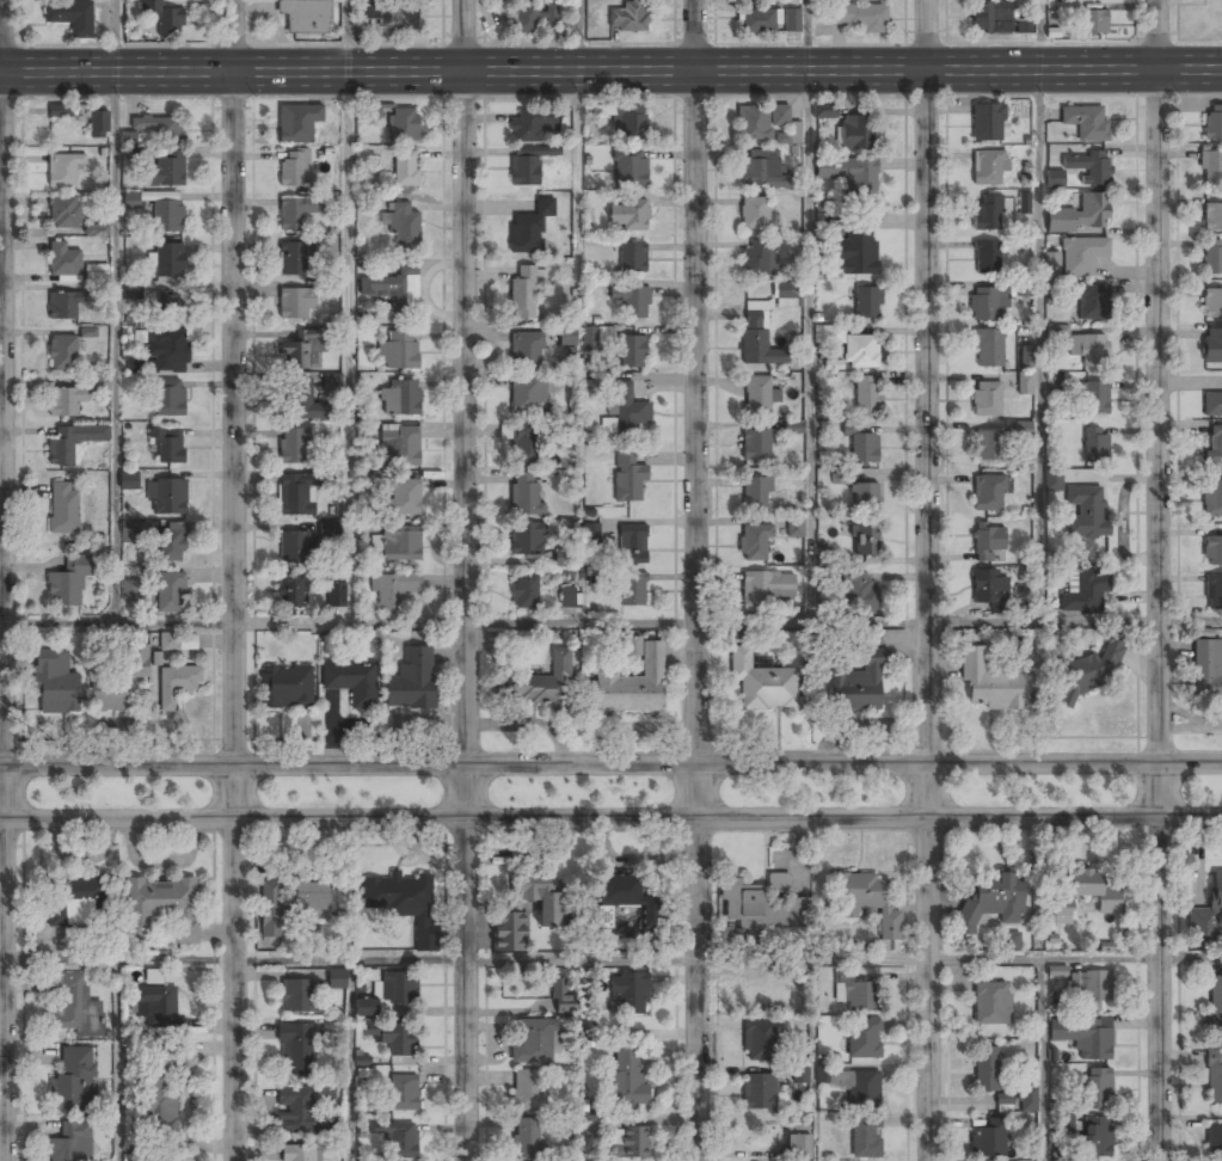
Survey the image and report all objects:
building: (69, 16)
building: (306, 16)
building: (388, 16)
building: (627, 16)
building: (551, 17)
building: (854, 17)
building: (166, 18)
building: (991, 18)
building: (526, 19)
building: (757, 20)
building: (791, 20)
building: (1094, 21)
road: (579, 35)
road: (806, 35)
road: (115, 36)
road: (344, 36)
road: (1039, 36)
road: (610, 69)
building: (824, 110)
building: (59, 111)
building: (628, 121)
building: (987, 121)
building: (297, 122)
building: (760, 122)
building: (1085, 122)
building: (1212, 122)
building: (530, 123)
building: (98, 124)
building: (403, 124)
building: (160, 128)
building: (856, 133)
building: (788, 135)
building: (128, 140)
building: (529, 162)
road: (578, 165)
building: (988, 165)
building: (1088, 165)
building: (1210, 167)
building: (166, 168)
building: (294, 168)
building: (630, 168)
building: (63, 170)
building: (406, 170)
building: (762, 170)
building: (851, 177)
building: (1054, 179)
building: (131, 201)
building: (1024, 203)
building: (295, 210)
building: (63, 213)
building: (987, 213)
building: (628, 214)
building: (755, 214)
building: (1080, 214)
building: (167, 216)
building: (1212, 216)
building: (529, 227)
building: (405, 228)
building: (97, 229)
building: (856, 254)
building: (987, 256)
building: (1081, 256)
building: (1212, 256)
building: (632, 257)
building: (293, 258)
building: (62, 259)
building: (755, 260)
building: (1052, 260)
building: (168, 262)
building: (96, 272)
building: (395, 287)
building: (1023, 288)
building: (133, 290)
building: (523, 293)
building: (785, 294)
building: (632, 301)
building: (1092, 302)
building: (866, 303)
building: (988, 303)
building: (1212, 303)
building: (295, 305)
building: (63, 306)
building: (167, 306)
building: (88, 332)
building: (829, 333)
building: (567, 336)
building: (595, 337)
building: (757, 340)
road: (113, 346)
road: (348, 346)
road: (809, 346)
road: (1039, 346)
building: (1212, 346)
building: (988, 348)
building: (1087, 348)
building: (302, 349)
building: (854, 349)
building: (527, 350)
building: (398, 351)
building: (632, 351)
building: (62, 352)
building: (166, 352)
building: (1025, 358)
building: (100, 382)
building: (1025, 383)
building: (330, 385)
building: (528, 395)
building: (867, 395)
building: (168, 397)
building: (756, 397)
building: (398, 398)
building: (1093, 398)
building: (985, 399)
building: (63, 401)
building: (301, 403)
building: (1212, 405)
building: (626, 407)
building: (608, 425)
building: (793, 428)
building: (1023, 428)
building: (1095, 442)
building: (861, 443)
building: (167, 444)
building: (527, 444)
building: (294, 446)
building: (755, 446)
building: (989, 446)
building: (1214, 446)
building: (399, 447)
building: (62, 448)
building: (627, 477)
building: (839, 478)
building: (127, 480)
building: (1052, 481)
building: (988, 492)
building: (296, 494)
building: (524, 494)
building: (755, 494)
building: (166, 496)
building: (401, 497)
building: (864, 497)
building: (1212, 498)
building: (63, 508)
building: (1085, 512)
building: (328, 528)
building: (794, 528)
building: (130, 529)
building: (591, 534)
building: (527, 537)
building: (170, 541)
building: (864, 541)
building: (987, 541)
building: (632, 542)
building: (754, 542)
building: (400, 545)
building: (294, 547)
building: (1214, 549)
building: (823, 557)
building: (566, 558)
road: (234, 579)
road: (466, 579)
road: (2, 580)
building: (67, 580)
road: (696, 580)
road: (928, 580)
road: (1159, 580)
building: (632, 588)
building: (766, 588)
building: (854, 589)
building: (989, 589)
building: (130, 590)
building: (393, 590)
building: (1083, 590)
building: (170, 591)
building: (524, 591)
building: (1214, 592)
building: (293, 594)
building: (336, 596)
building: (567, 597)
road: (610, 621)
building: (178, 641)
building: (632, 645)
building: (1206, 671)
building: (1087, 674)
building: (178, 681)
building: (411, 681)
building: (762, 681)
building: (119, 682)
building: (352, 682)
building: (538, 683)
building: (859, 683)
building: (633, 684)
building: (55, 686)
building: (990, 686)
building: (285, 687)
building: (589, 692)
road: (610, 766)
road: (610, 818)
building: (1086, 891)
building: (1216, 891)
building: (627, 896)
building: (540, 897)
building: (74, 899)
building: (312, 899)
building: (405, 902)
building: (991, 902)
building: (761, 904)
building: (870, 904)
building: (160, 907)
building: (270, 909)
building: (1062, 911)
building: (604, 917)
building: (510, 930)
building: (1009, 940)
road: (1190, 956)
road: (578, 959)
building: (1056, 971)
building: (153, 976)
building: (337, 979)
building: (1088, 988)
building: (759, 990)
building: (852, 991)
building: (388, 993)
building: (628, 993)
building: (560, 995)
building: (301, 997)
building: (1214, 1001)
building: (989, 1003)
building: (75, 1005)
building: (156, 1005)
building: (1082, 1036)
building: (392, 1038)
building: (860, 1038)
building: (759, 1039)
building: (534, 1042)
building: (296, 1050)
building: (1051, 1055)
road: (349, 1059)
road: (585, 1059)
road: (812, 1059)
road: (1040, 1059)
road: (113, 1061)
building: (984, 1069)
building: (1214, 1073)
building: (798, 1075)
building: (626, 1077)
building: (73, 1080)
building: (849, 1085)
building: (527, 1089)
building: (1095, 1089)
building: (756, 1091)
building: (403, 1093)
building: (158, 1099)
building: (1002, 1099)
building: (1026, 1099)
building: (1002, 1108)
building: (296, 1113)
building: (592, 1123)
building: (1064, 1123)
building: (527, 1136)
building: (862, 1136)
building: (1093, 1137)
building: (987, 1138)
building: (400, 1139)
building: (1214, 1139)
building: (796, 1141)
building: (70, 1142)
building: (628, 1143)
building: (297, 1153)

